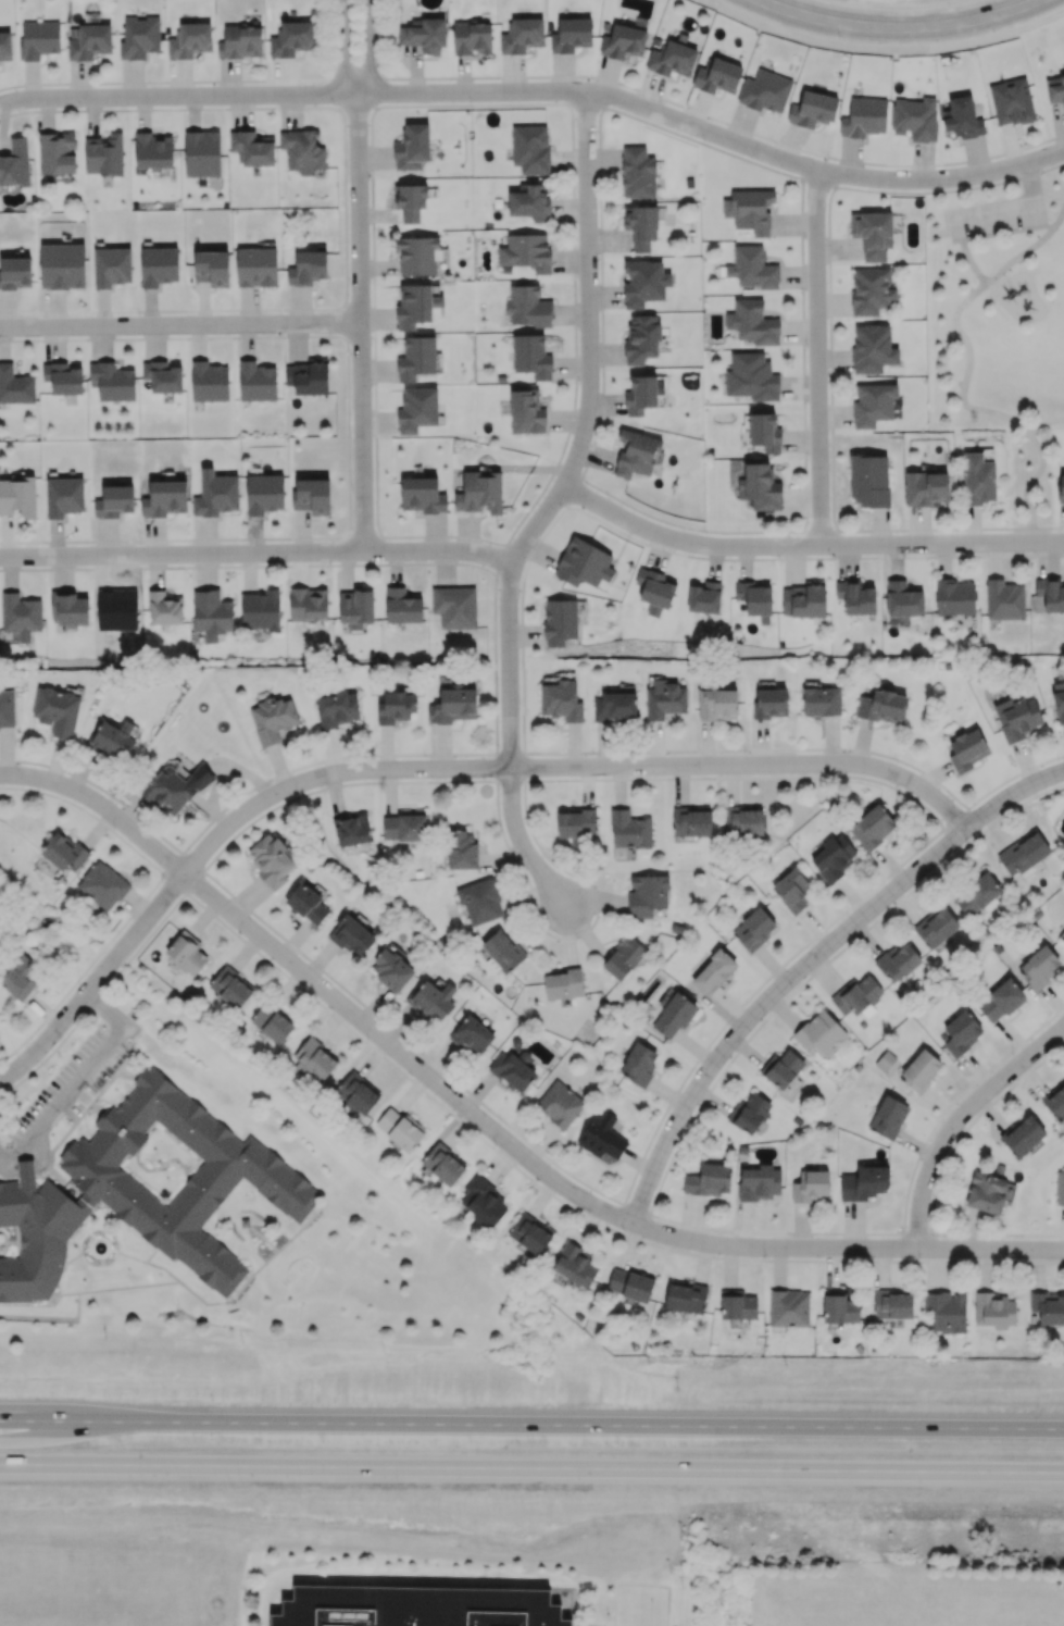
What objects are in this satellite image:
road: (900, 28)
building: (425, 35)
building: (522, 35)
building: (571, 35)
building: (139, 37)
building: (472, 37)
building: (38, 38)
building: (291, 38)
building: (190, 39)
building: (88, 40)
building: (623, 40)
building: (240, 41)
road: (891, 41)
building: (5, 46)
road: (368, 48)
road: (343, 49)
building: (672, 59)
building: (717, 75)
building: (1055, 88)
building: (765, 90)
road: (540, 92)
building: (1011, 101)
building: (813, 109)
building: (864, 116)
building: (962, 117)
building: (915, 119)
building: (412, 147)
building: (251, 148)
building: (530, 148)
building: (152, 150)
building: (302, 150)
building: (57, 152)
building: (103, 153)
building: (202, 153)
building: (15, 163)
building: (638, 172)
building: (410, 201)
building: (529, 202)
road: (1011, 207)
building: (750, 209)
parking lot: (996, 216)
road: (1040, 221)
building: (641, 225)
road: (997, 232)
building: (873, 233)
building: (526, 251)
building: (416, 255)
road: (967, 256)
building: (62, 265)
building: (159, 265)
building: (112, 266)
building: (255, 266)
building: (212, 268)
building: (308, 268)
building: (752, 268)
building: (15, 273)
building: (643, 282)
street lamp: (981, 284)
building: (871, 290)
building: (415, 306)
building: (527, 306)
building: (752, 322)
road: (360, 323)
park: (1000, 323)
road: (179, 324)
road: (962, 337)
building: (641, 338)
building: (873, 348)
building: (531, 356)
building: (416, 358)
road: (817, 358)
building: (162, 376)
building: (308, 376)
building: (751, 376)
building: (63, 377)
building: (112, 381)
building: (209, 381)
building: (256, 381)
building: (15, 385)
building: (640, 395)
building: (873, 404)
building: (417, 409)
building: (526, 411)
building: (765, 432)
road: (579, 440)
building: (636, 454)
road: (1035, 477)
building: (978, 479)
building: (869, 480)
building: (926, 487)
building: (1061, 487)
building: (480, 492)
building: (215, 493)
building: (264, 493)
building: (422, 495)
building: (18, 496)
building: (64, 496)
building: (312, 496)
building: (164, 498)
building: (114, 501)
road: (972, 524)
road: (1017, 527)
road: (806, 546)
road: (258, 554)
building: (584, 563)
building: (655, 589)
building: (1050, 593)
building: (704, 597)
building: (855, 597)
building: (954, 597)
building: (903, 598)
building: (754, 599)
building: (804, 599)
building: (1004, 599)
building: (308, 604)
building: (402, 606)
building: (454, 607)
building: (68, 608)
building: (164, 608)
building: (355, 608)
building: (261, 610)
building: (21, 615)
building: (211, 615)
building: (560, 621)
building: (664, 699)
building: (561, 700)
building: (1059, 700)
building: (822, 702)
building: (771, 703)
building: (717, 704)
building: (453, 705)
building: (614, 706)
building: (883, 706)
building: (336, 707)
building: (396, 707)
building: (7, 708)
building: (57, 710)
building: (1017, 717)
building: (273, 719)
building: (113, 740)
building: (967, 749)
road: (567, 771)
building: (174, 786)
road: (1012, 795)
building: (743, 820)
building: (691, 821)
building: (575, 824)
building: (403, 827)
building: (872, 827)
building: (351, 829)
building: (629, 830)
road: (523, 846)
building: (461, 849)
building: (63, 851)
building: (1023, 853)
building: (833, 857)
building: (271, 860)
building: (102, 885)
building: (791, 890)
building: (976, 894)
building: (647, 895)
building: (480, 901)
building: (306, 903)
building: (936, 927)
building: (754, 929)
building: (1062, 934)
building: (352, 935)
building: (501, 952)
building: (186, 953)
building: (623, 957)
building: (897, 961)
building: (1039, 966)
building: (390, 969)
building: (713, 971)
building: (20, 977)
building: (563, 983)
road: (97, 985)
building: (230, 986)
building: (856, 995)
building: (433, 997)
building: (1000, 1001)
road: (769, 1005)
building: (673, 1014)
building: (272, 1022)
building: (960, 1032)
building: (819, 1033)
building: (472, 1034)
building: (314, 1060)
building: (639, 1064)
building: (781, 1068)
building: (512, 1070)
building: (919, 1070)
road: (80, 1082)
building: (358, 1092)
building: (1055, 1102)
building: (560, 1104)
building: (749, 1113)
building: (888, 1117)
road: (957, 1124)
building: (400, 1129)
road: (488, 1130)
building: (1022, 1134)
building: (601, 1135)
road: (4, 1159)
building: (443, 1164)
building: (709, 1180)
building: (760, 1182)
building: (864, 1182)
building: (811, 1184)
building: (1060, 1187)
building: (142, 1192)
building: (987, 1192)
building: (483, 1203)
building: (530, 1233)
building: (575, 1265)
building: (629, 1284)
building: (685, 1296)
building: (737, 1304)
building: (892, 1304)
building: (1048, 1306)
building: (789, 1307)
building: (839, 1307)
building: (994, 1310)
building: (946, 1311)
road: (531, 1424)
road: (531, 1467)
building: (415, 1605)

